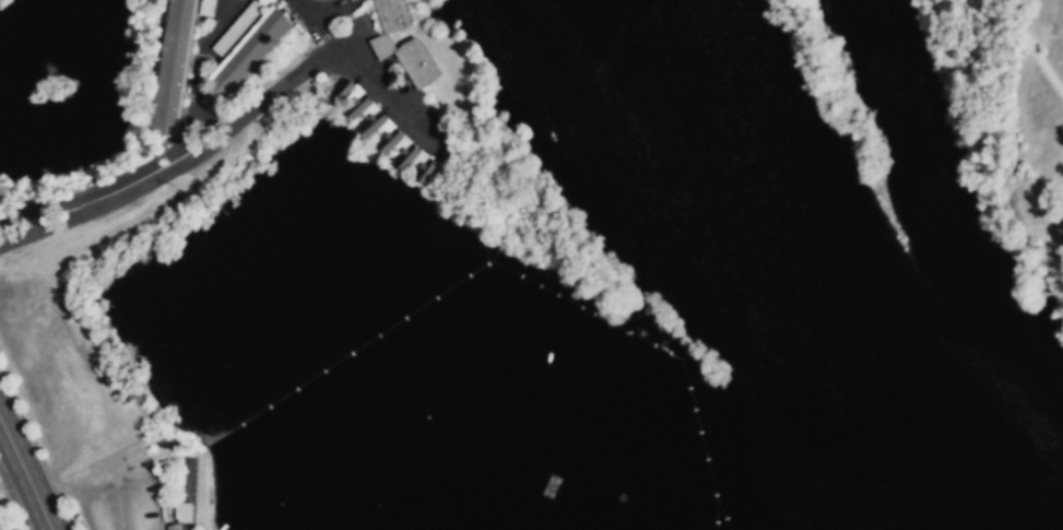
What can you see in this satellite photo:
road: (1029, 42)
building: (380, 46)
building: (250, 52)
building: (172, 69)
park: (1008, 119)
road: (234, 123)
building: (382, 130)
road: (164, 154)
river: (823, 283)
road: (25, 474)
parking lot: (123, 503)
building: (184, 511)
road: (122, 513)
building: (173, 527)

